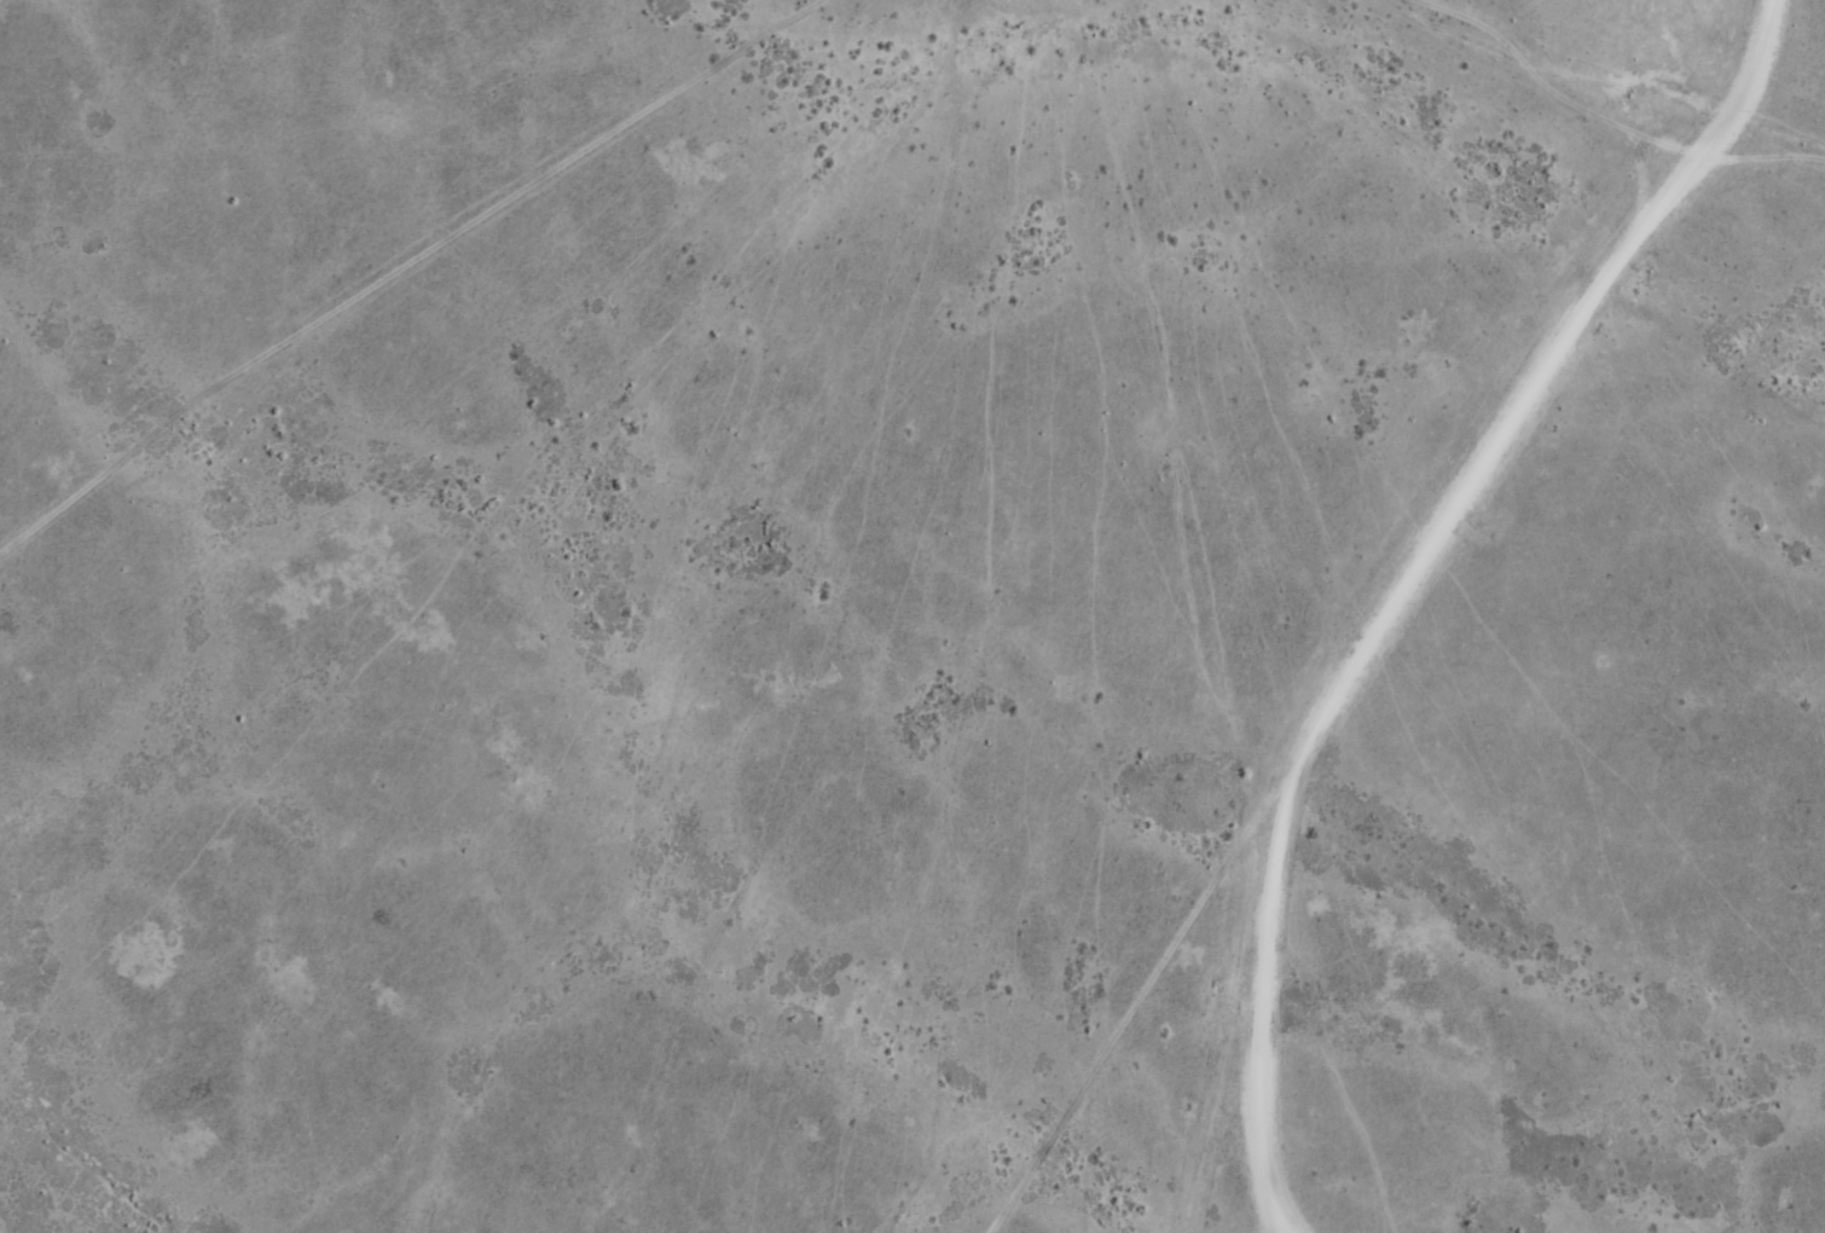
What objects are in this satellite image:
road: (1437, 585)

